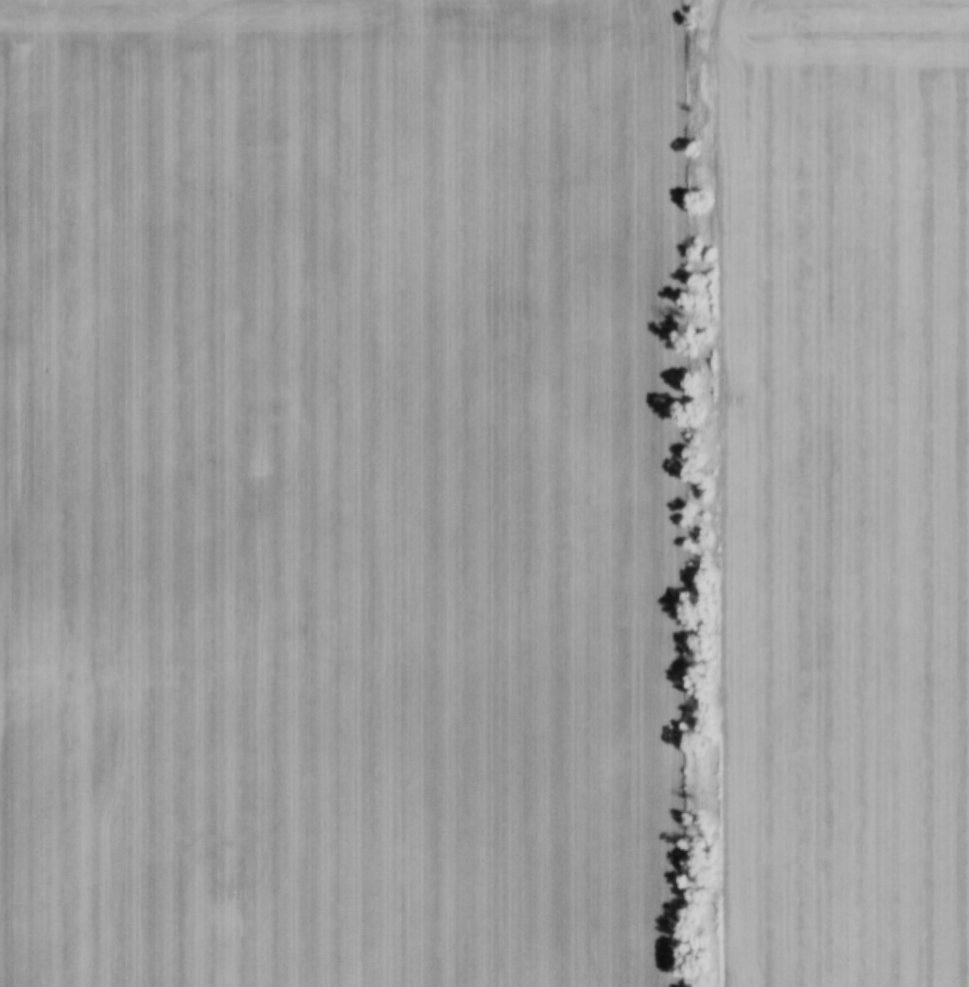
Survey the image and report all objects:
road: (677, 493)

